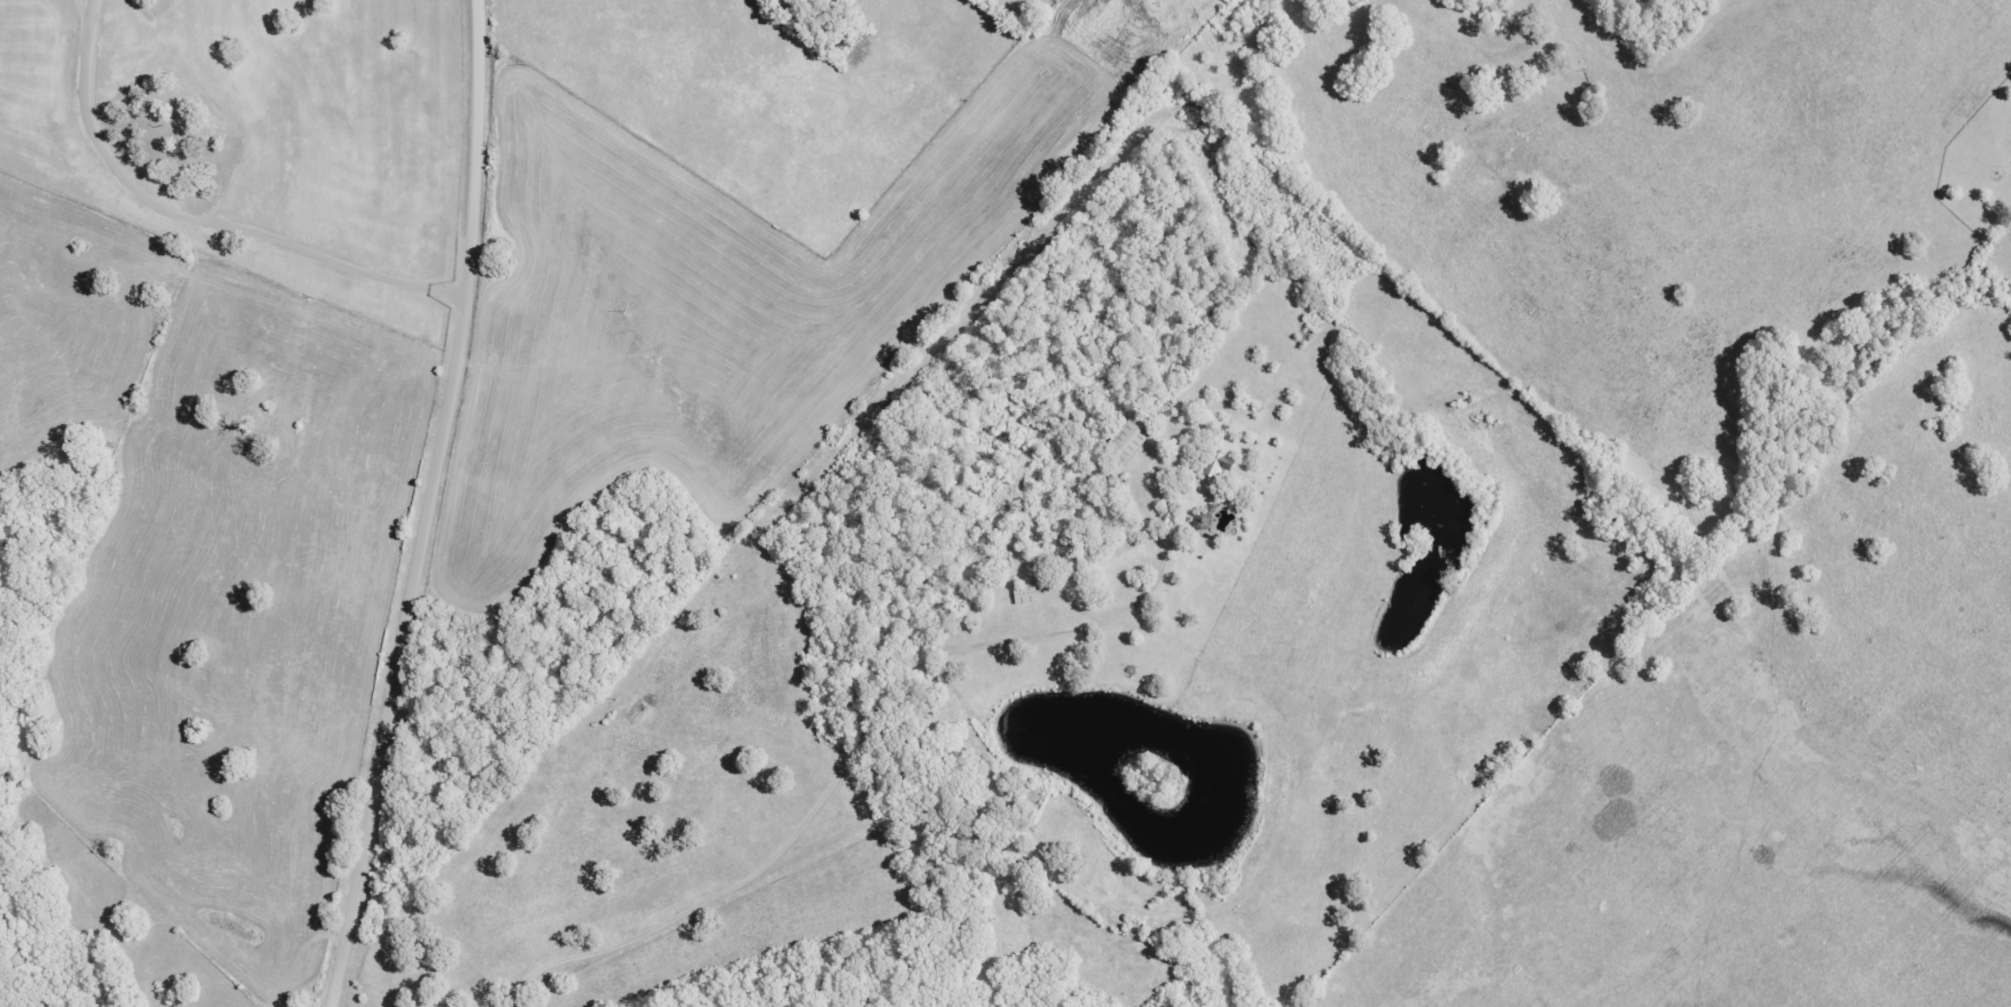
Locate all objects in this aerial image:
road: (203, 213)
building: (1123, 441)
road: (431, 506)
building: (1023, 595)
road: (811, 806)

